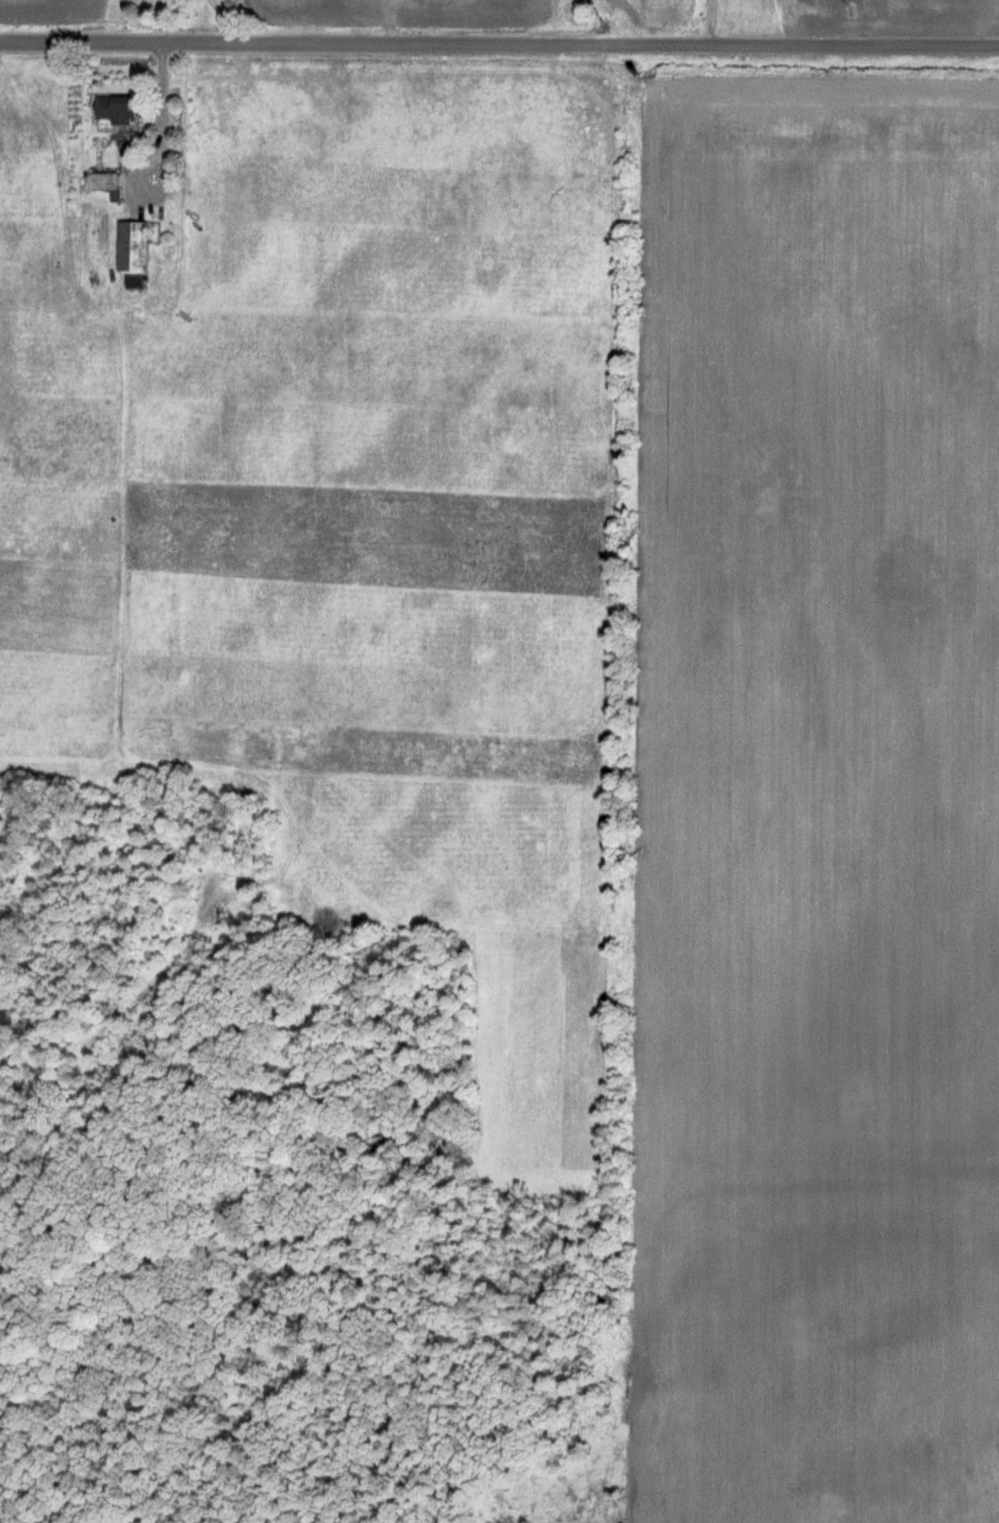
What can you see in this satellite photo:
road: (709, 23)
road: (499, 45)
building: (119, 108)
road: (162, 111)
building: (107, 181)
building: (136, 246)

